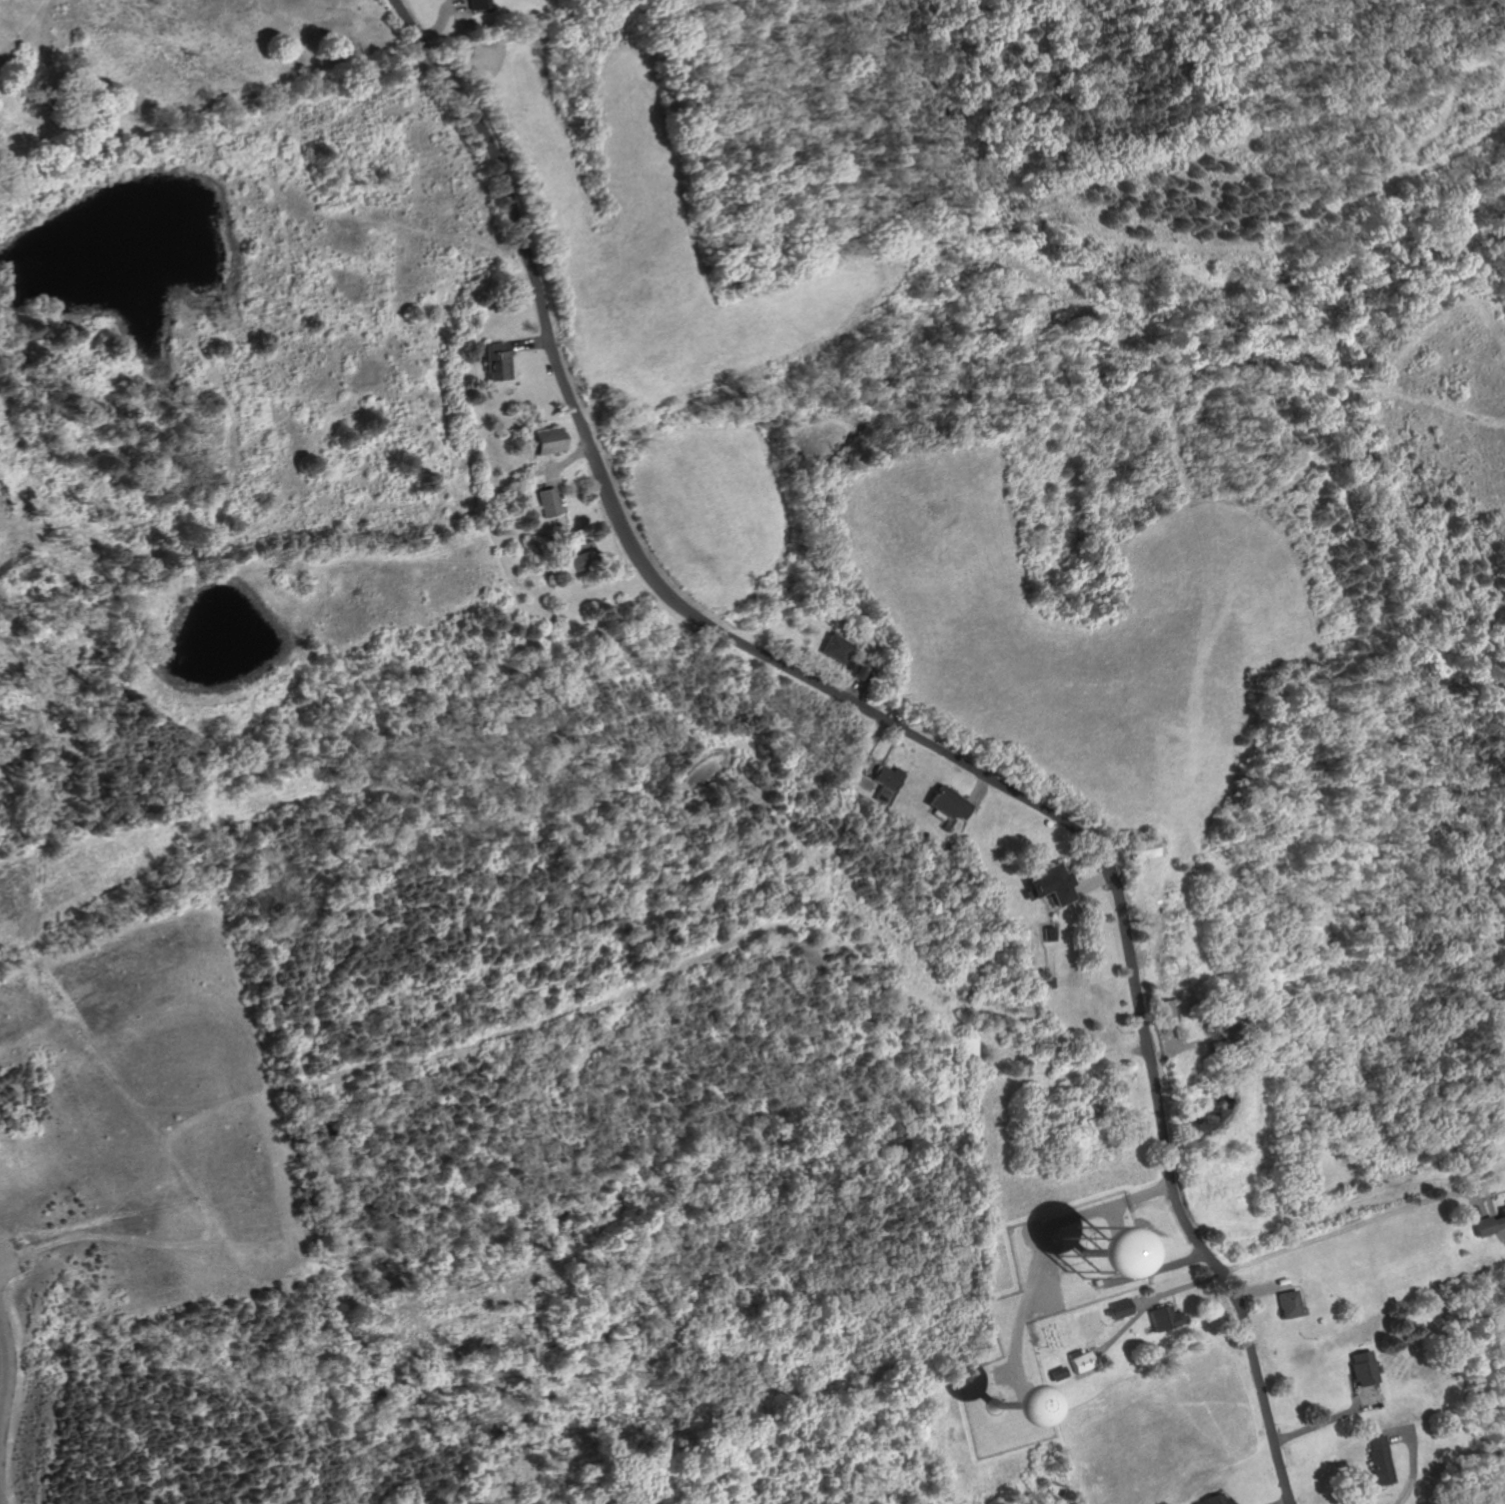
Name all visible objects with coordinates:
building: (475, 5)
road: (458, 14)
road: (442, 17)
road: (527, 343)
building: (497, 361)
building: (545, 441)
road: (554, 466)
building: (548, 502)
building: (575, 559)
building: (836, 644)
building: (858, 671)
road: (850, 687)
road: (898, 725)
road: (862, 754)
building: (886, 783)
road: (976, 788)
building: (947, 802)
building: (1139, 846)
building: (1052, 882)
road: (1091, 882)
building: (1050, 932)
building: (1160, 1011)
building: (1219, 1035)
building: (1504, 1202)
road: (1355, 1222)
building: (1488, 1223)
road: (1038, 1246)
water tower: (1092, 1246)
building: (1087, 1258)
road: (5, 1260)
road: (1133, 1269)
road: (1255, 1290)
road: (1142, 1301)
road: (1148, 1303)
building: (1284, 1304)
building: (1117, 1307)
building: (1164, 1317)
building: (1079, 1360)
building: (1360, 1368)
building: (1057, 1372)
water tower: (1003, 1401)
building: (1000, 1413)
road: (1332, 1416)
building: (1380, 1459)
road: (1411, 1459)
building: (1217, 1500)
road: (1290, 1503)

